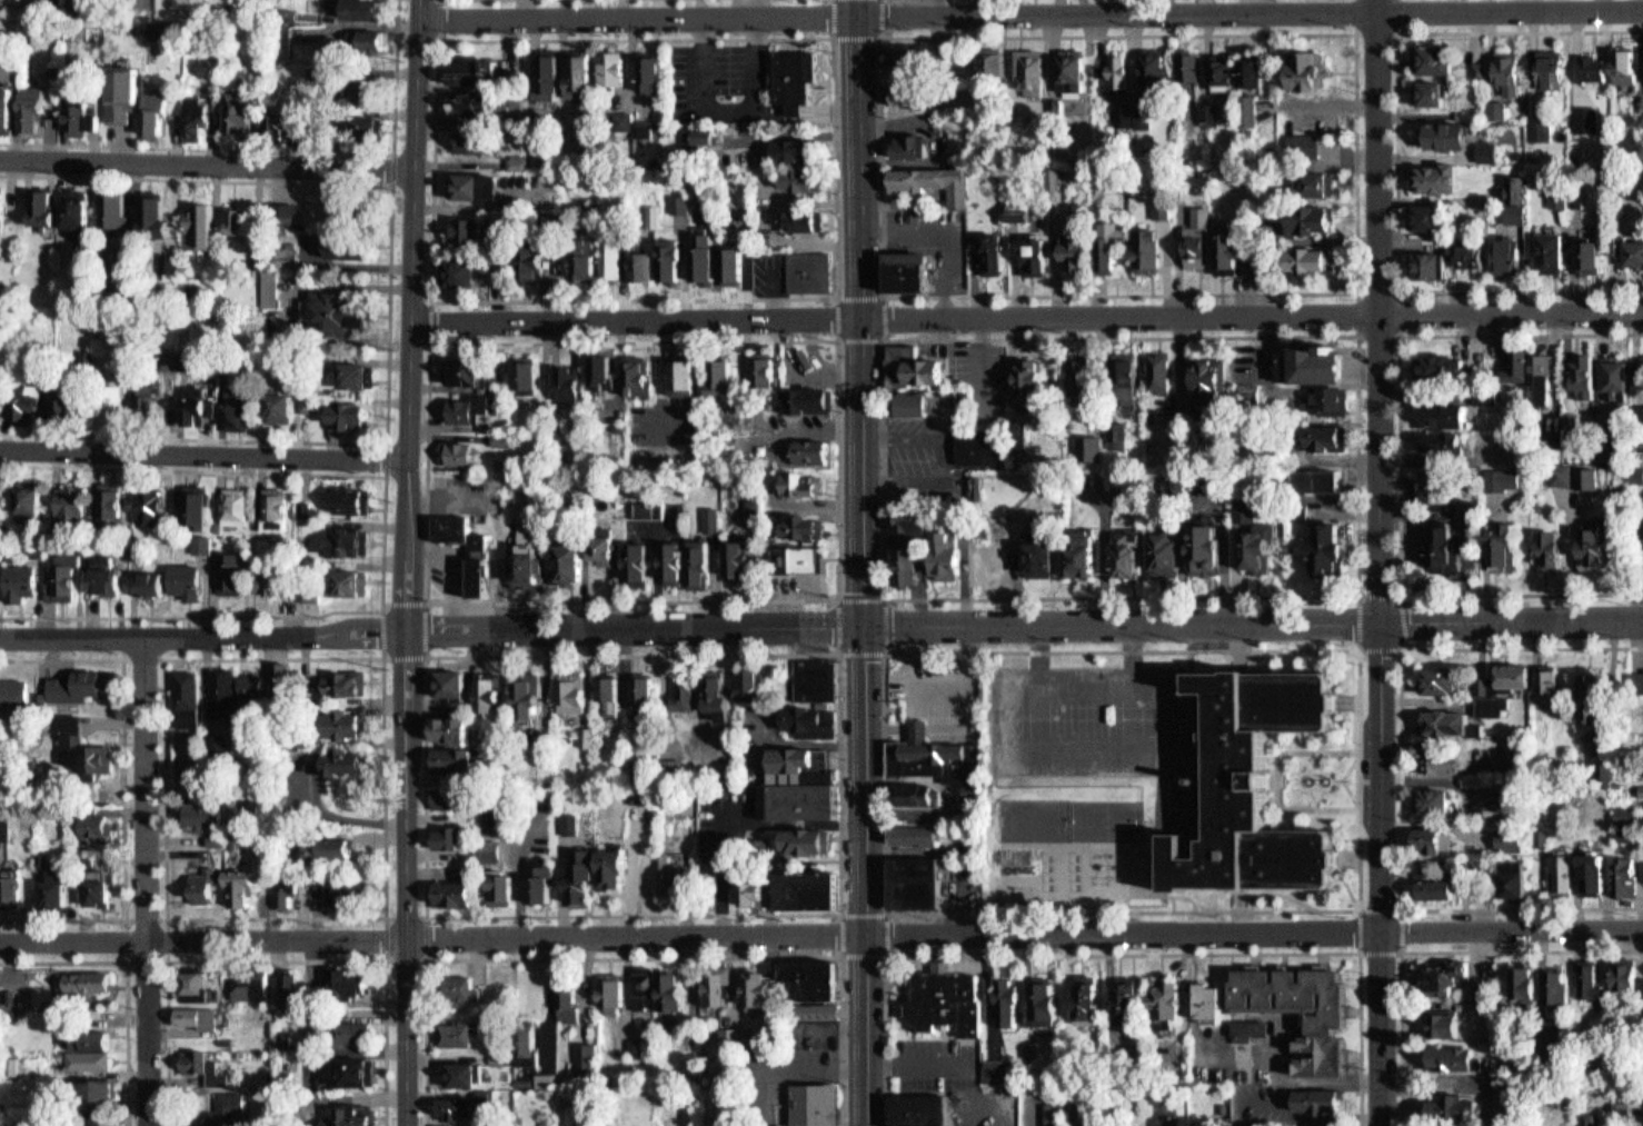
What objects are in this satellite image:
building: (2, 3)
building: (349, 8)
road: (1511, 10)
road: (897, 12)
building: (63, 18)
building: (355, 20)
road: (1376, 31)
road: (856, 37)
road: (437, 39)
building: (152, 43)
building: (357, 53)
building: (908, 53)
building: (275, 54)
building: (1441, 58)
building: (995, 63)
building: (1630, 64)
building: (616, 67)
building: (1191, 67)
building: (481, 68)
building: (1156, 68)
building: (1595, 68)
building: (1315, 69)
building: (1555, 69)
building: (1229, 70)
building: (1032, 71)
building: (1116, 71)
building: (1259, 71)
building: (1512, 71)
building: (656, 72)
building: (556, 73)
building: (582, 73)
building: (1075, 73)
building: (799, 77)
building: (309, 84)
building: (1435, 91)
building: (907, 93)
building: (478, 102)
building: (362, 106)
building: (118, 107)
building: (33, 109)
building: (243, 109)
building: (1254, 110)
building: (158, 114)
building: (1124, 114)
building: (82, 117)
building: (287, 119)
building: (1, 122)
building: (23, 122)
building: (148, 124)
building: (237, 128)
building: (375, 128)
building: (74, 129)
building: (195, 130)
building: (331, 131)
building: (1451, 134)
building: (305, 136)
building: (704, 138)
building: (270, 140)
building: (477, 140)
building: (357, 141)
building: (916, 145)
building: (1314, 146)
building: (801, 148)
road: (1397, 159)
building: (520, 161)
road: (280, 165)
road: (399, 168)
road: (205, 175)
building: (1444, 177)
building: (806, 178)
building: (935, 182)
building: (1320, 182)
building: (480, 185)
building: (1522, 199)
building: (44, 206)
building: (80, 207)
building: (114, 209)
building: (157, 209)
building: (360, 209)
building: (2, 210)
building: (1024, 212)
building: (1431, 216)
building: (805, 219)
building: (1317, 219)
building: (240, 220)
building: (201, 225)
building: (471, 229)
building: (1202, 246)
building: (356, 247)
building: (1636, 248)
building: (1154, 250)
building: (1078, 251)
building: (1560, 251)
building: (994, 252)
building: (1113, 252)
building: (1035, 253)
building: (1238, 253)
building: (1473, 255)
building: (1513, 255)
building: (708, 256)
building: (1597, 256)
building: (290, 258)
building: (1317, 258)
building: (616, 259)
building: (676, 259)
building: (541, 261)
building: (1432, 263)
building: (647, 265)
building: (590, 266)
building: (737, 266)
building: (912, 270)
building: (468, 271)
building: (810, 271)
road: (1357, 291)
road: (432, 300)
road: (1511, 311)
building: (341, 312)
road: (389, 315)
road: (894, 317)
road: (1396, 335)
road: (1354, 339)
road: (883, 340)
road: (429, 341)
road: (428, 348)
building: (801, 350)
building: (1322, 362)
building: (1454, 362)
building: (1523, 363)
building: (926, 368)
building: (467, 370)
building: (608, 370)
building: (766, 370)
building: (1087, 371)
building: (358, 372)
building: (1590, 372)
building: (1162, 373)
building: (1623, 373)
building: (643, 375)
building: (530, 376)
building: (1034, 376)
building: (1131, 376)
building: (690, 377)
building: (729, 377)
building: (1546, 377)
building: (1211, 379)
building: (574, 381)
building: (816, 393)
building: (3, 397)
building: (1488, 397)
building: (148, 399)
building: (28, 400)
building: (71, 400)
building: (1336, 400)
building: (199, 401)
building: (917, 401)
building: (283, 402)
building: (113, 406)
building: (238, 406)
building: (468, 407)
building: (346, 415)
building: (1451, 415)
building: (1330, 437)
road: (388, 440)
building: (1451, 441)
building: (984, 445)
building: (817, 447)
building: (1613, 450)
road: (202, 452)
building: (461, 452)
parking lot: (920, 458)
road: (1400, 462)
building: (1637, 471)
building: (1563, 472)
building: (1589, 477)
building: (1508, 478)
building: (1325, 479)
building: (805, 480)
building: (1442, 482)
building: (30, 496)
building: (1, 497)
building: (73, 500)
building: (357, 500)
building: (112, 505)
building: (236, 506)
building: (276, 506)
building: (155, 507)
building: (198, 508)
building: (653, 508)
building: (715, 519)
building: (816, 521)
building: (913, 521)
building: (352, 540)
road: (382, 542)
building: (203, 544)
building: (1507, 544)
building: (1214, 545)
building: (1451, 545)
building: (1263, 547)
building: (1335, 547)
building: (1555, 547)
building: (1601, 548)
building: (604, 549)
building: (471, 550)
building: (1045, 551)
building: (1172, 552)
building: (809, 554)
building: (952, 554)
building: (1131, 555)
building: (740, 559)
building: (1084, 559)
building: (640, 561)
road: (405, 562)
road: (863, 562)
road: (1381, 562)
building: (674, 564)
building: (703, 564)
building: (912, 564)
building: (530, 566)
building: (570, 568)
building: (236, 572)
building: (111, 578)
building: (190, 578)
building: (27, 581)
building: (351, 581)
building: (153, 582)
building: (279, 582)
building: (313, 588)
road: (1512, 620)
traffic signals: (1381, 622)
traffic signals: (865, 624)
road: (689, 627)
road: (1040, 644)
road: (1134, 644)
road: (1401, 647)
road: (885, 649)
road: (426, 650)
road: (384, 656)
road: (123, 657)
building: (283, 671)
building: (1520, 674)
building: (815, 678)
building: (1445, 679)
building: (454, 681)
building: (348, 682)
building: (1487, 684)
building: (257, 685)
building: (750, 685)
building: (81, 686)
building: (226, 690)
building: (689, 690)
building: (571, 691)
building: (641, 691)
building: (717, 691)
building: (16, 692)
building: (492, 692)
building: (609, 694)
building: (1599, 696)
building: (532, 697)
building: (190, 698)
building: (1487, 705)
parking lot: (1098, 718)
building: (811, 719)
building: (1451, 721)
building: (350, 723)
building: (458, 728)
building: (585, 734)
building: (86, 748)
building: (934, 754)
building: (1440, 757)
building: (454, 759)
building: (348, 760)
road: (1400, 779)
building: (799, 785)
building: (1257, 788)
road: (125, 789)
building: (975, 790)
building: (1641, 790)
building: (919, 795)
building: (451, 797)
building: (1435, 800)
building: (1502, 807)
building: (208, 814)
building: (1625, 815)
park: (1038, 819)
park: (1109, 819)
building: (99, 824)
building: (567, 825)
building: (6, 828)
building: (913, 835)
building: (455, 837)
building: (1506, 837)
building: (1436, 839)
building: (807, 841)
road: (1085, 844)
road: (1166, 845)
building: (331, 848)
building: (489, 849)
building: (1020, 856)
building: (610, 868)
building: (1562, 870)
building: (669, 871)
building: (1599, 871)
building: (1513, 876)
building: (1630, 876)
building: (579, 878)
road: (146, 880)
building: (539, 880)
building: (916, 883)
building: (13, 885)
building: (208, 885)
building: (1436, 886)
building: (102, 887)
building: (243, 887)
building: (501, 889)
building: (807, 890)
building: (59, 893)
building: (287, 893)
building: (354, 893)
building: (751, 893)
building: (457, 894)
road: (1276, 894)
road: (1189, 897)
road: (1358, 907)
road: (1358, 910)
road: (838, 913)
road: (1511, 929)
road: (689, 933)
road: (1434, 950)
road: (1123, 953)
road: (886, 954)
road: (635, 956)
road: (426, 957)
road: (166, 959)
road: (277, 959)
building: (1630, 974)
building: (814, 977)
road: (126, 980)
building: (193, 980)
building: (350, 980)
building: (1592, 980)
building: (87, 983)
building: (1529, 983)
building: (253, 985)
building: (1560, 985)
building: (1485, 986)
building: (295, 987)
building: (755, 988)
building: (461, 989)
building: (713, 989)
building: (670, 990)
building: (609, 992)
building: (641, 992)
building: (952, 993)
building: (1166, 999)
building: (1209, 999)
building: (566, 1000)
building: (1087, 1000)
building: (1126, 1000)
building: (1009, 1002)
building: (1046, 1003)
building: (823, 1008)
building: (1335, 1018)
building: (201, 1020)
building: (1447, 1023)
building: (1249, 1027)
building: (359, 1032)
building: (460, 1032)
building: (725, 1037)
building: (529, 1043)
building: (634, 1047)
building: (90, 1050)
building: (1030, 1052)
building: (586, 1056)
building: (1455, 1057)
building: (206, 1065)
building: (1000, 1070)
building: (360, 1072)
building: (465, 1075)
building: (108, 1089)
building: (1164, 1094)
building: (1315, 1102)
building: (814, 1103)
building: (456, 1107)
building: (922, 1107)
building: (1460, 1107)
building: (227, 1108)
building: (1055, 1112)
building: (359, 1115)
building: (919, 1124)

